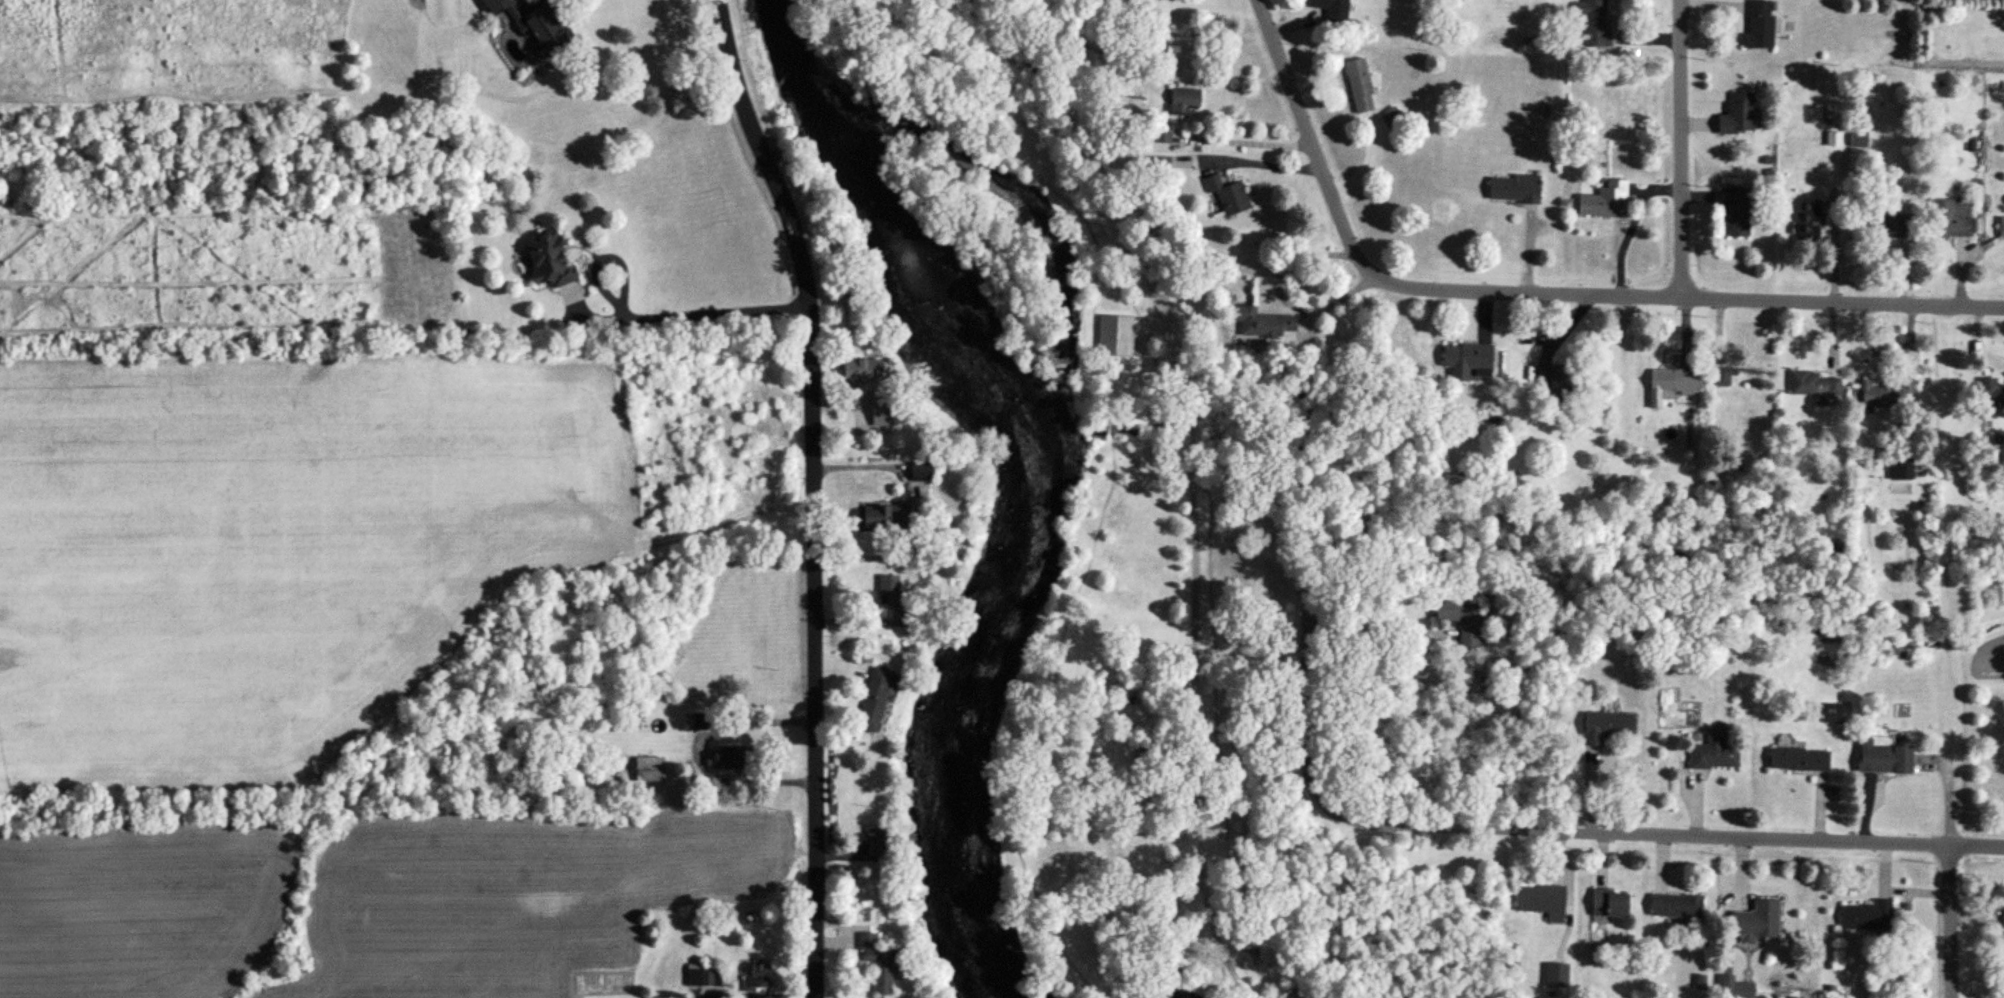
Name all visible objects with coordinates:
building: (1331, 8)
building: (1594, 22)
building: (533, 25)
building: (1760, 25)
building: (1359, 86)
building: (1182, 100)
building: (1737, 115)
building: (1390, 117)
building: (1835, 139)
building: (1859, 139)
road: (1685, 148)
road: (1317, 154)
building: (1513, 189)
building: (1226, 197)
building: (1605, 202)
building: (1736, 211)
road: (1113, 215)
building: (1950, 219)
building: (1809, 221)
river: (1049, 224)
building: (1890, 224)
building: (2001, 228)
building: (546, 260)
road: (1703, 297)
road: (648, 312)
building: (1260, 323)
building: (1115, 336)
building: (1467, 362)
building: (858, 371)
building: (1723, 376)
building: (1550, 379)
building: (1814, 386)
building: (1670, 387)
building: (1887, 395)
building: (1990, 396)
building: (880, 413)
road: (868, 466)
river: (1030, 473)
road: (1114, 482)
road: (812, 492)
building: (882, 517)
road: (1296, 524)
building: (1836, 547)
park: (1104, 575)
building: (886, 590)
building: (1460, 618)
road: (1376, 637)
building: (871, 700)
road: (1220, 706)
building: (1831, 713)
road: (1198, 717)
building: (1606, 727)
road: (692, 752)
building: (1713, 754)
building: (1882, 757)
building: (723, 759)
building: (1798, 760)
building: (648, 770)
road: (1577, 831)
building: (871, 842)
building: (1542, 901)
building: (1611, 905)
building: (1676, 907)
building: (1867, 917)
building: (2003, 919)
building: (1757, 922)
road: (1955, 922)
building: (875, 964)
road: (1222, 976)
building: (697, 977)
building: (754, 979)
road: (757, 995)

